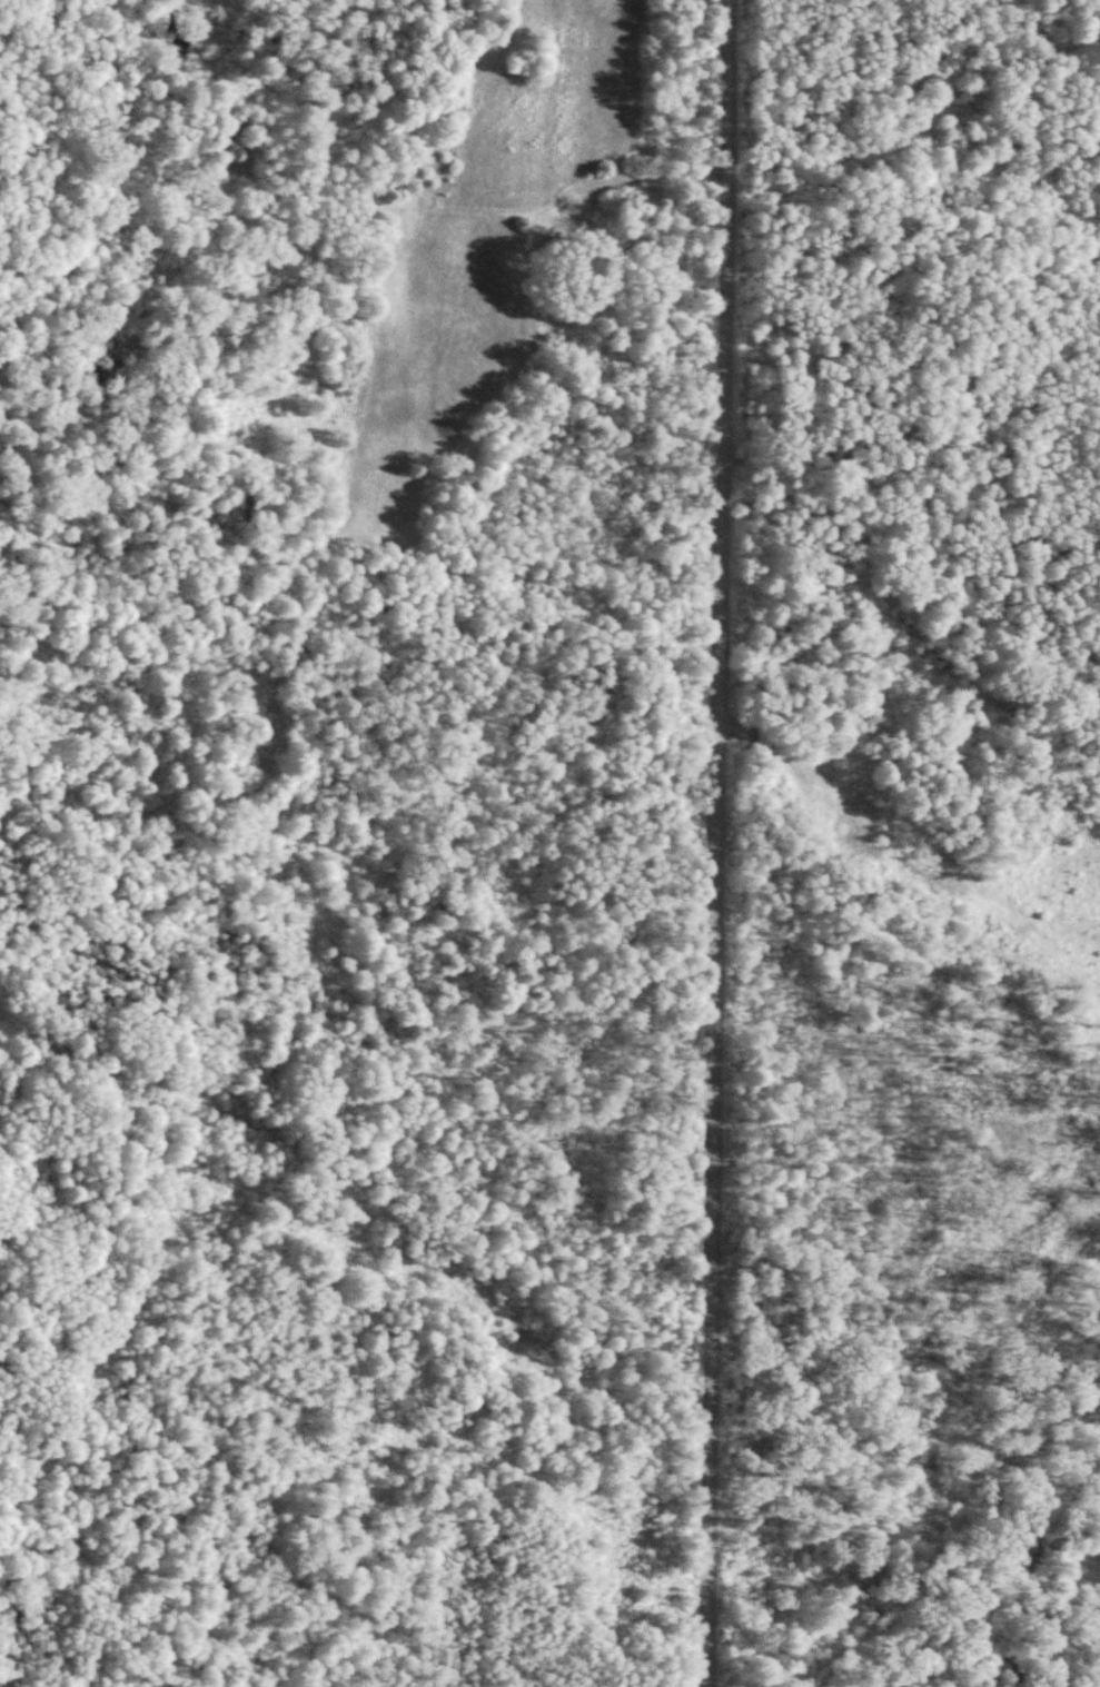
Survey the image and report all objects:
road: (724, 843)
road: (958, 1576)

